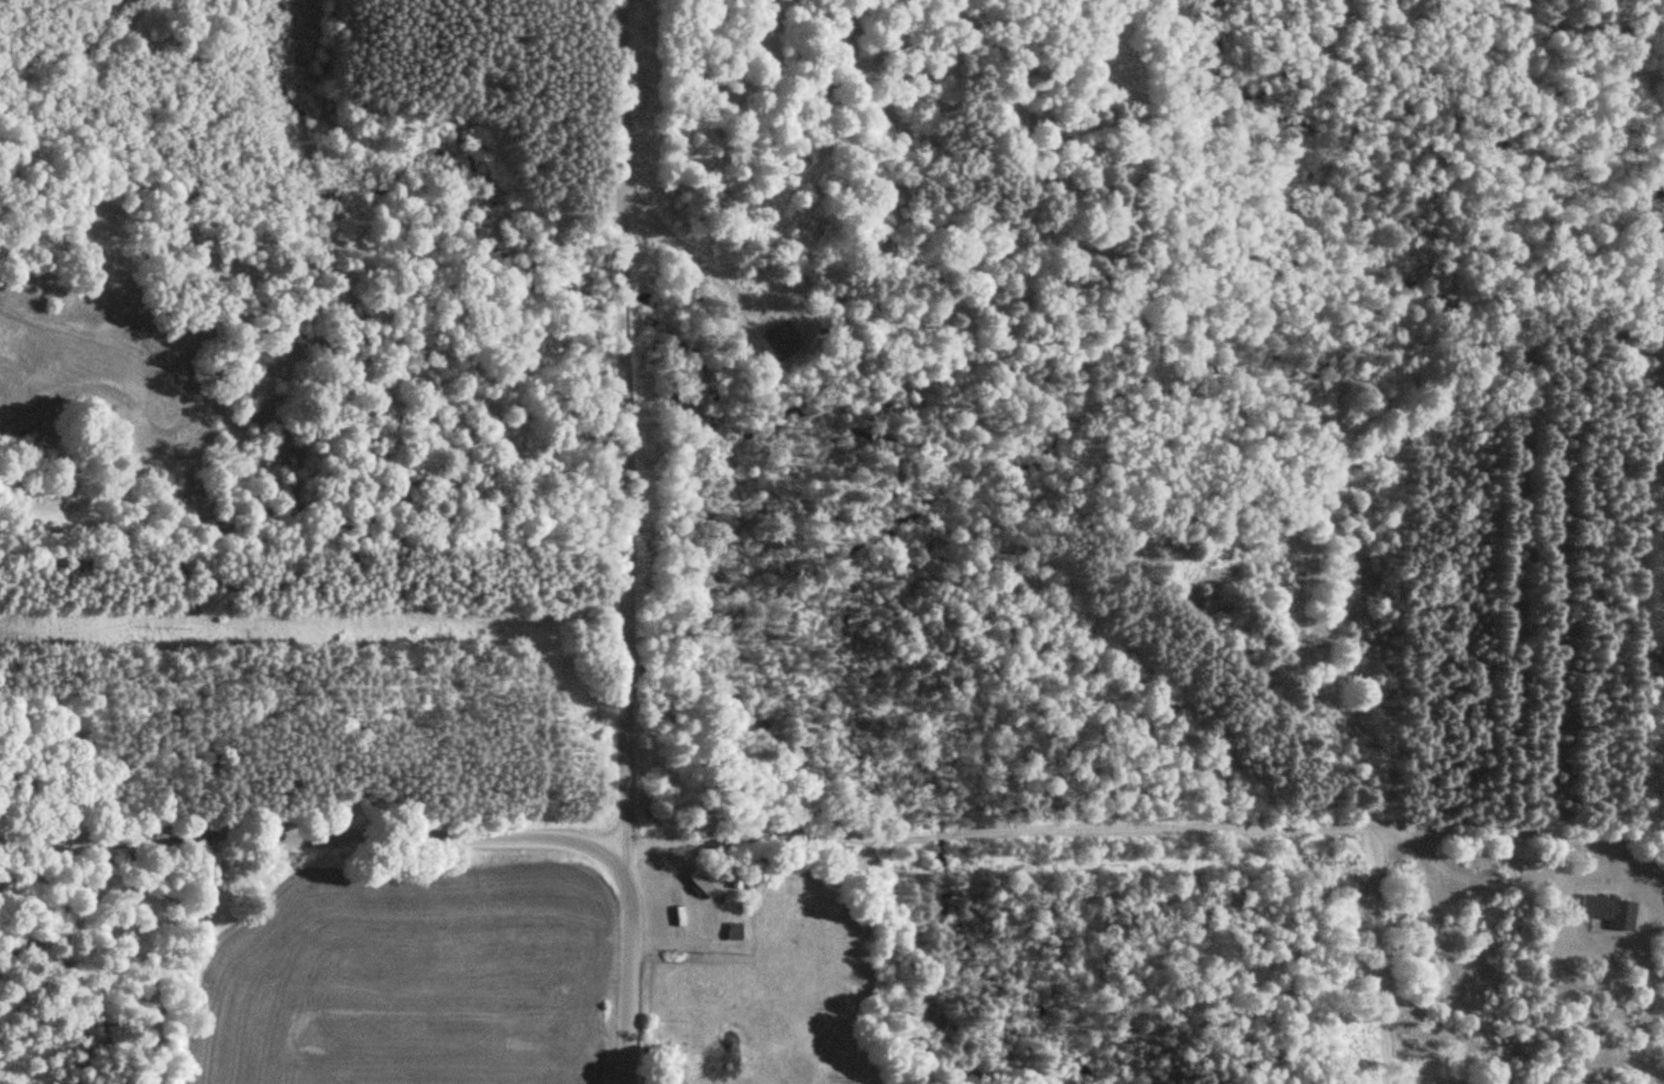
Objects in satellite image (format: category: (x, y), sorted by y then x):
road: (655, 541)
road: (831, 830)
building: (1610, 910)

